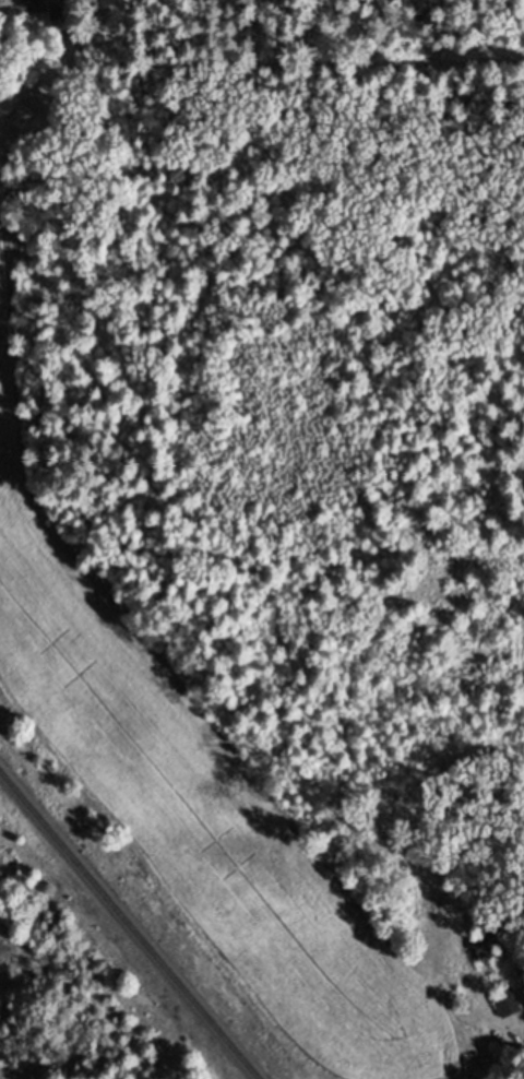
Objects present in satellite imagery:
railway: (126, 928)
building: (485, 953)
building: (505, 1012)

